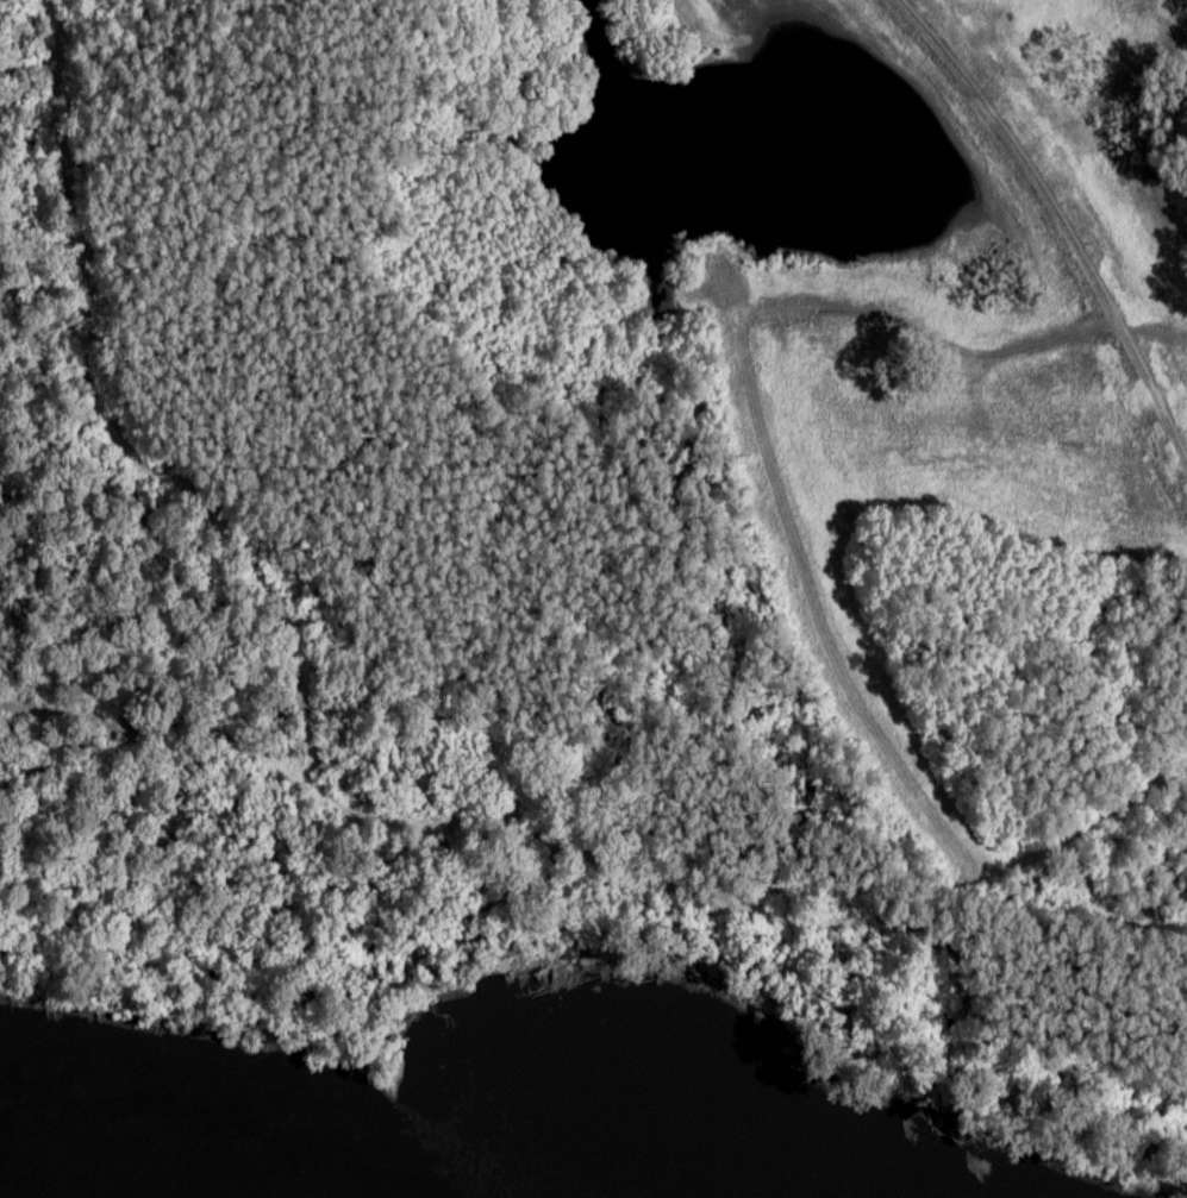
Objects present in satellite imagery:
road: (1061, 224)

